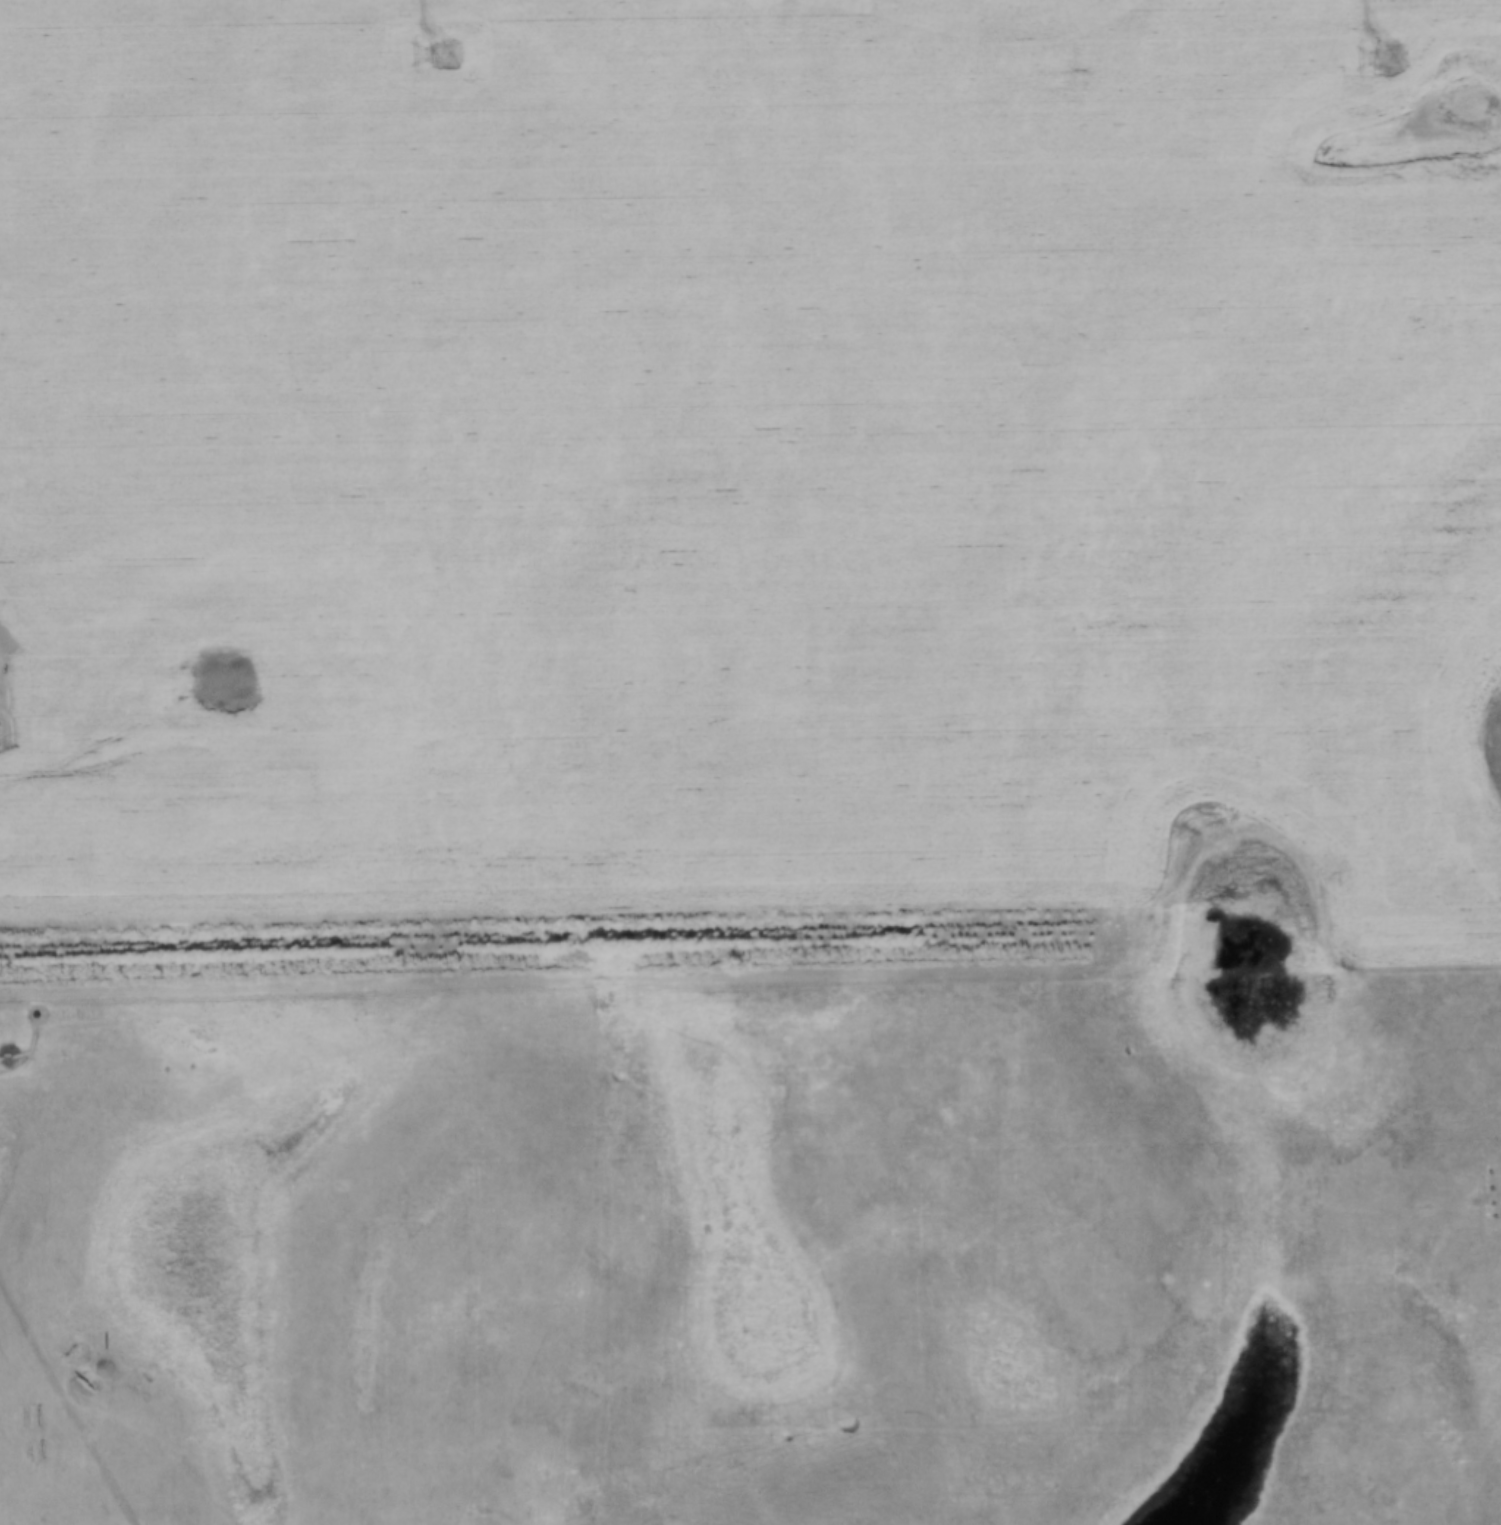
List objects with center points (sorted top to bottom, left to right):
power tower: (450, 56)
power tower: (1398, 58)

